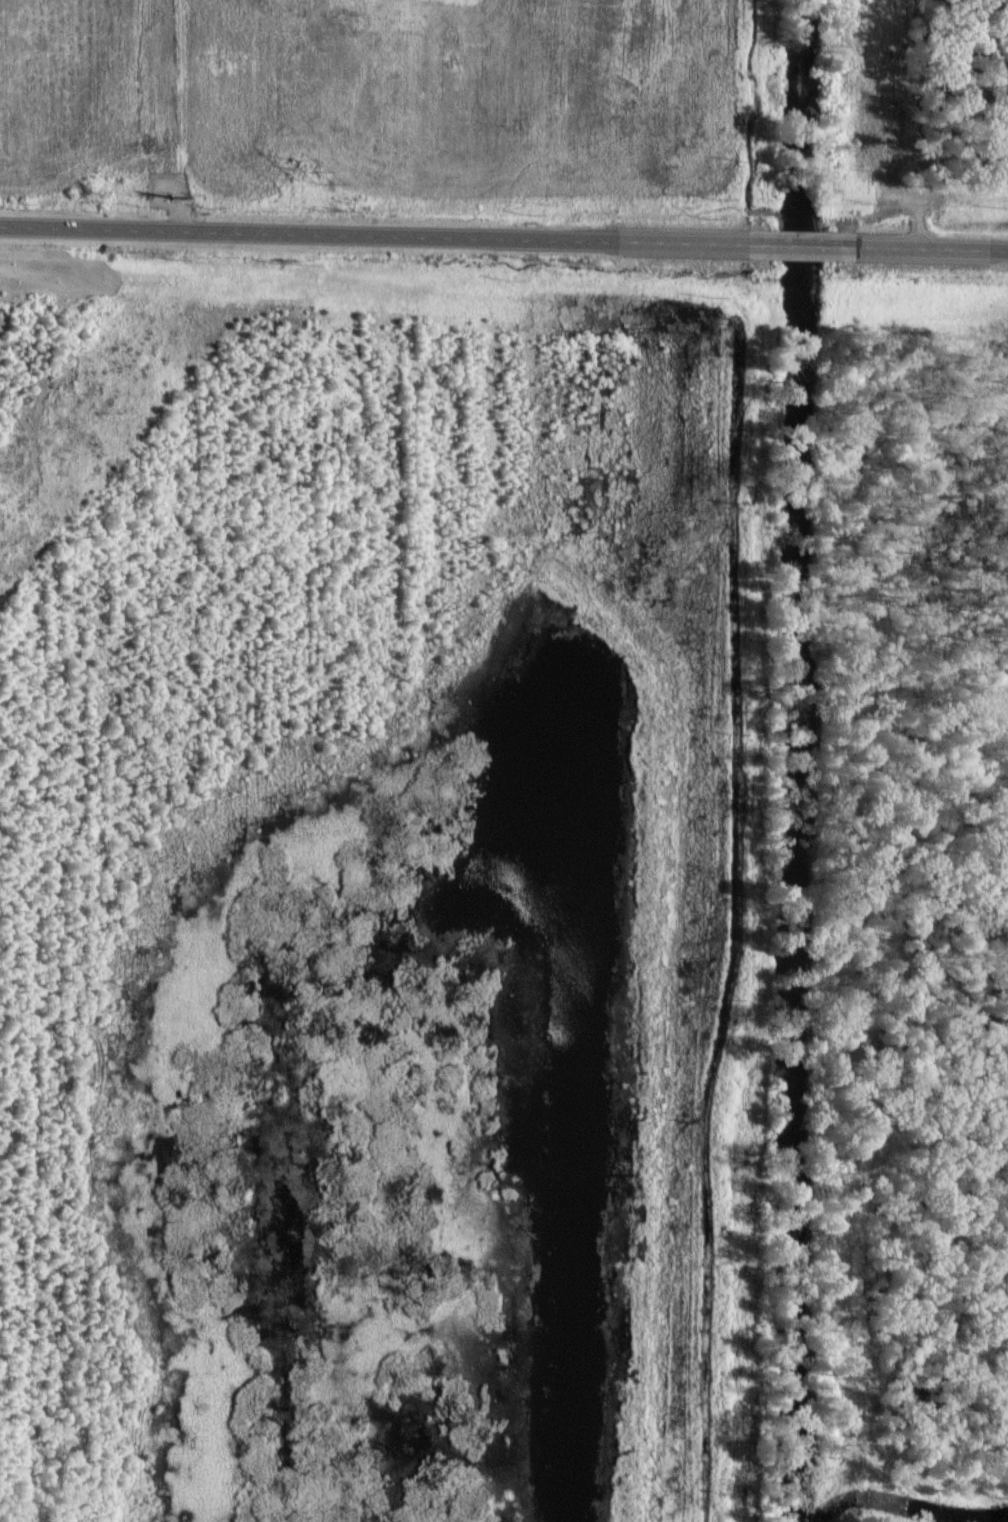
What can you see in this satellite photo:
power tower: (300, 167)
road: (503, 237)

